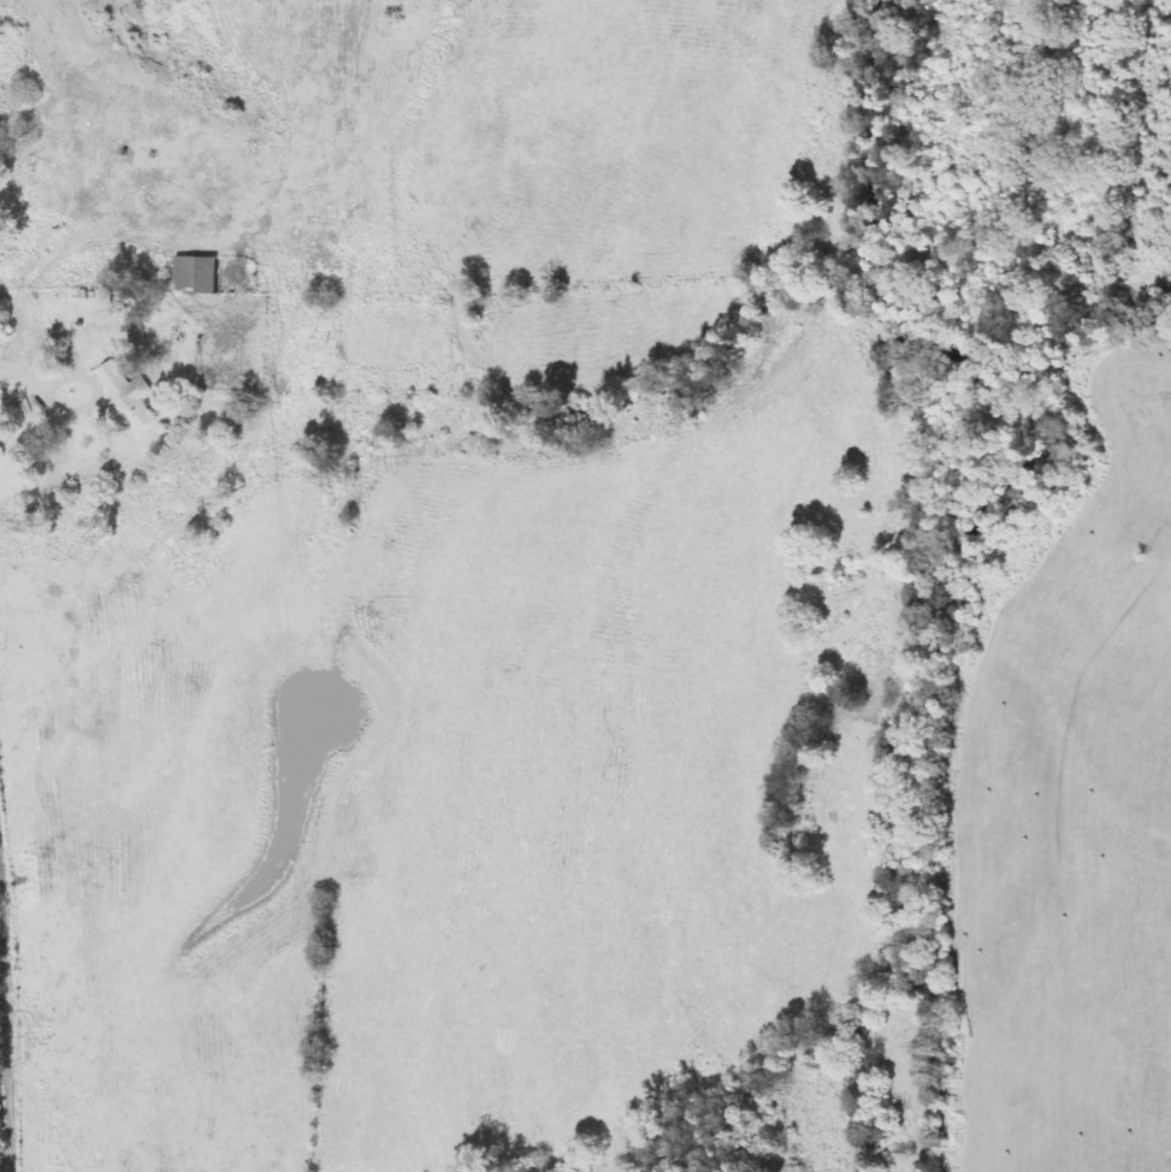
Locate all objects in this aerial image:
building: (196, 276)
building: (130, 396)

